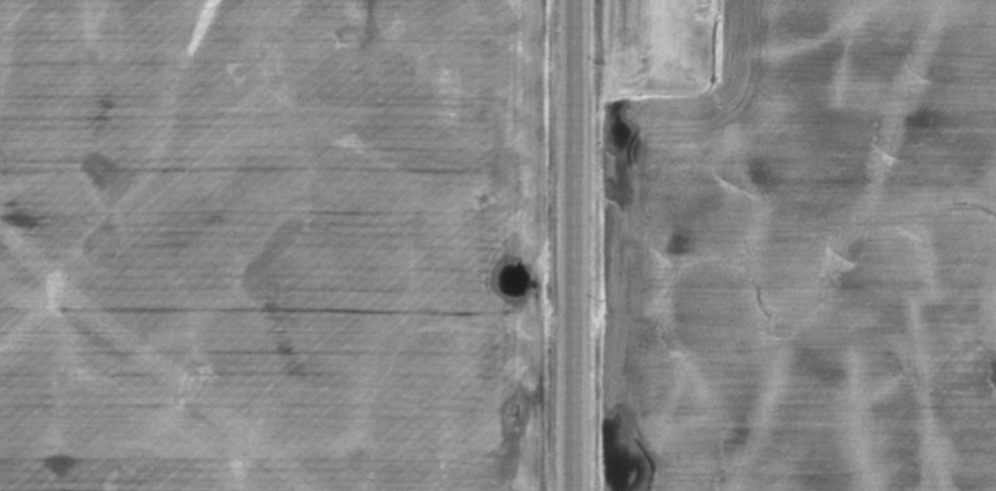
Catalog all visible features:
road: (573, 245)

